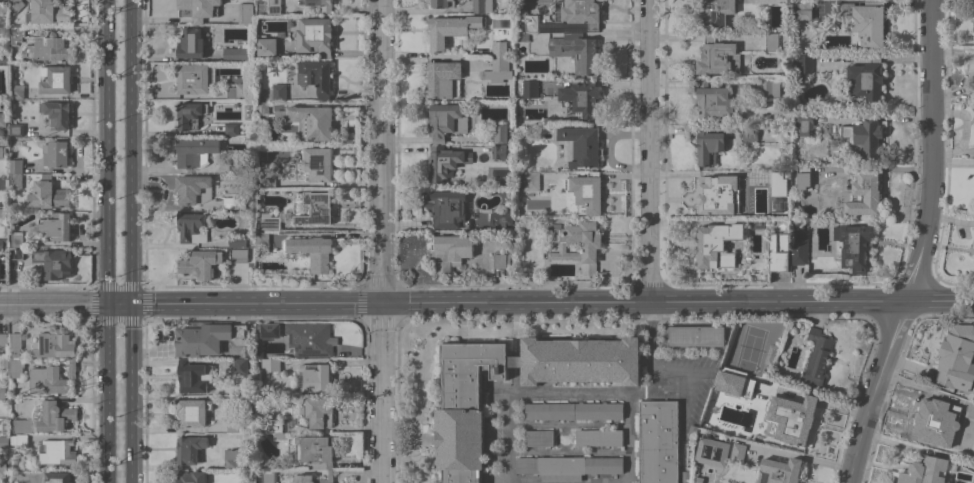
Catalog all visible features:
building: (770, 1)
building: (443, 3)
building: (320, 4)
building: (483, 5)
building: (15, 6)
building: (274, 7)
building: (200, 8)
building: (4, 9)
building: (804, 9)
building: (715, 11)
building: (48, 12)
building: (578, 12)
building: (246, 13)
building: (529, 20)
building: (864, 23)
building: (451, 28)
building: (520, 28)
building: (16, 33)
building: (315, 35)
building: (523, 36)
building: (772, 41)
building: (192, 43)
building: (267, 45)
building: (47, 48)
building: (577, 51)
building: (236, 54)
building: (3, 56)
building: (718, 56)
building: (498, 63)
building: (805, 63)
road: (970, 67)
building: (192, 78)
building: (316, 78)
building: (55, 79)
building: (445, 79)
building: (866, 79)
building: (783, 81)
building: (770, 87)
building: (530, 88)
building: (237, 90)
building: (17, 91)
building: (279, 92)
building: (581, 96)
building: (713, 100)
building: (262, 106)
building: (57, 114)
building: (191, 114)
building: (1, 120)
building: (309, 120)
building: (447, 121)
building: (805, 122)
building: (231, 128)
building: (16, 129)
road: (964, 129)
building: (3, 131)
building: (500, 133)
building: (749, 134)
building: (864, 137)
building: (709, 144)
building: (580, 146)
road: (648, 150)
building: (2, 151)
road: (106, 151)
road: (129, 151)
road: (383, 151)
building: (499, 151)
road: (931, 151)
building: (195, 152)
building: (57, 154)
building: (444, 162)
building: (318, 163)
building: (15, 166)
building: (236, 167)
building: (269, 174)
building: (803, 176)
building: (15, 180)
building: (532, 180)
building: (778, 180)
building: (2, 183)
building: (194, 189)
building: (586, 192)
building: (48, 193)
building: (717, 193)
building: (865, 194)
building: (234, 202)
building: (315, 207)
building: (447, 208)
building: (2, 213)
building: (270, 218)
building: (498, 221)
building: (772, 223)
building: (57, 225)
building: (257, 226)
building: (192, 227)
building: (18, 238)
building: (237, 240)
building: (262, 242)
building: (718, 242)
building: (4, 243)
building: (799, 244)
building: (855, 245)
building: (589, 249)
building: (450, 250)
building: (312, 251)
building: (16, 253)
building: (778, 253)
building: (239, 255)
building: (501, 260)
building: (53, 262)
building: (201, 263)
building: (4, 269)
building: (14, 276)
road: (940, 300)
road: (645, 301)
road: (53, 303)
traffic signals: (107, 303)
road: (118, 303)
traffic signals: (130, 303)
road: (257, 303)
traffic signals: (385, 303)
building: (270, 330)
building: (696, 335)
building: (205, 337)
building: (310, 338)
building: (3, 339)
building: (15, 342)
building: (55, 344)
building: (771, 354)
building: (957, 357)
building: (816, 359)
building: (4, 361)
building: (271, 364)
road: (651, 365)
building: (240, 366)
building: (16, 367)
building: (194, 376)
building: (316, 377)
building: (53, 379)
building: (734, 381)
road: (875, 390)
road: (108, 392)
road: (135, 392)
road: (543, 392)
building: (2, 393)
road: (385, 393)
building: (969, 407)
building: (0, 409)
building: (574, 410)
building: (319, 411)
building: (193, 412)
building: (56, 415)
building: (798, 416)
building: (460, 419)
building: (932, 421)
building: (24, 425)
building: (233, 425)
building: (277, 425)
building: (691, 430)
building: (769, 431)
building: (539, 437)
building: (599, 437)
road: (628, 437)
building: (19, 438)
building: (658, 441)
building: (5, 442)
building: (190, 449)
building: (57, 451)
building: (315, 451)
building: (711, 451)
building: (737, 452)
building: (237, 459)
building: (567, 466)
building: (3, 469)
building: (780, 471)
building: (925, 471)
building: (685, 475)
building: (192, 476)
building: (269, 476)
building: (304, 476)
building: (58, 477)
building: (698, 479)
building: (684, 482)

